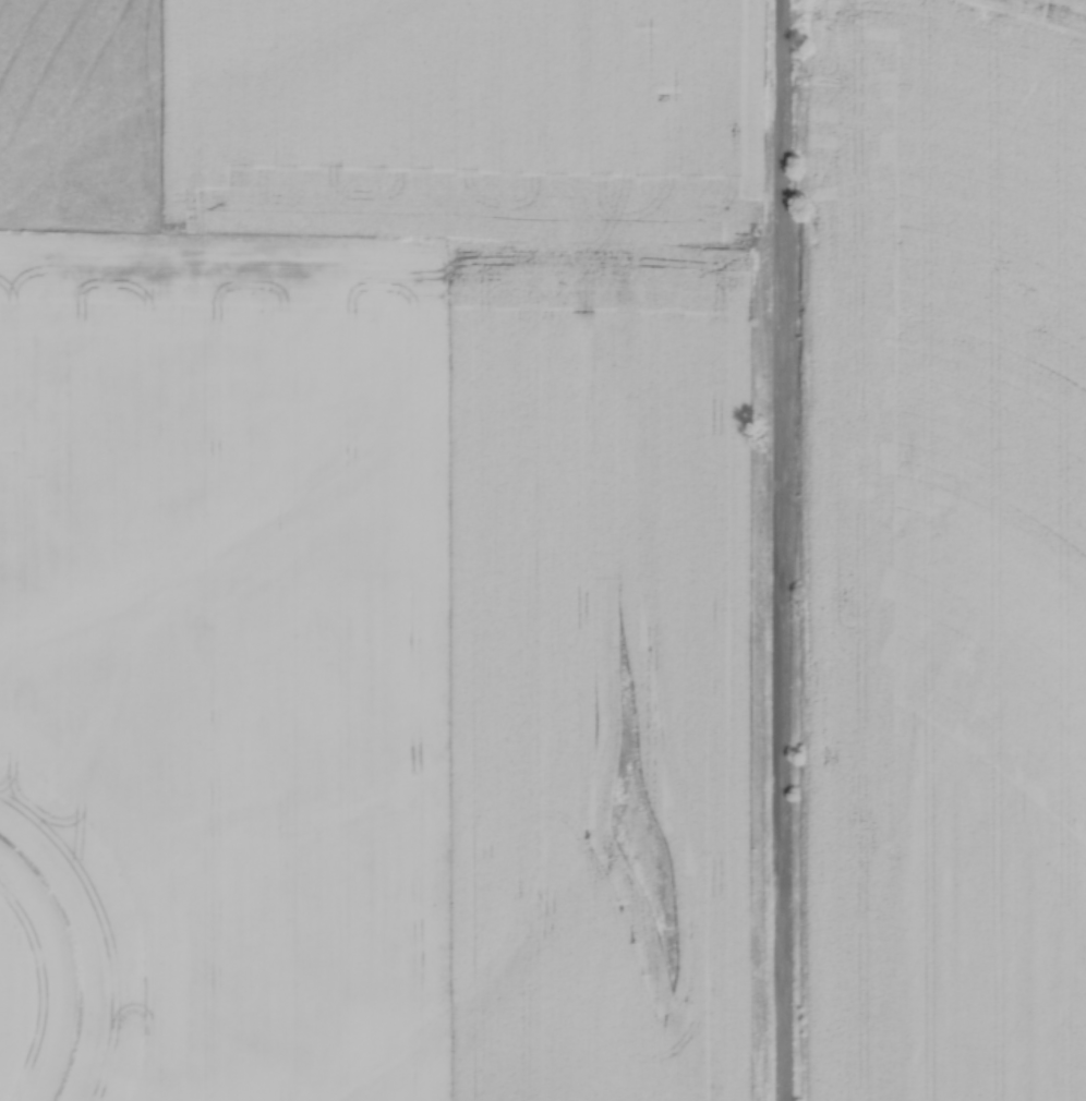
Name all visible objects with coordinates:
road: (772, 550)

